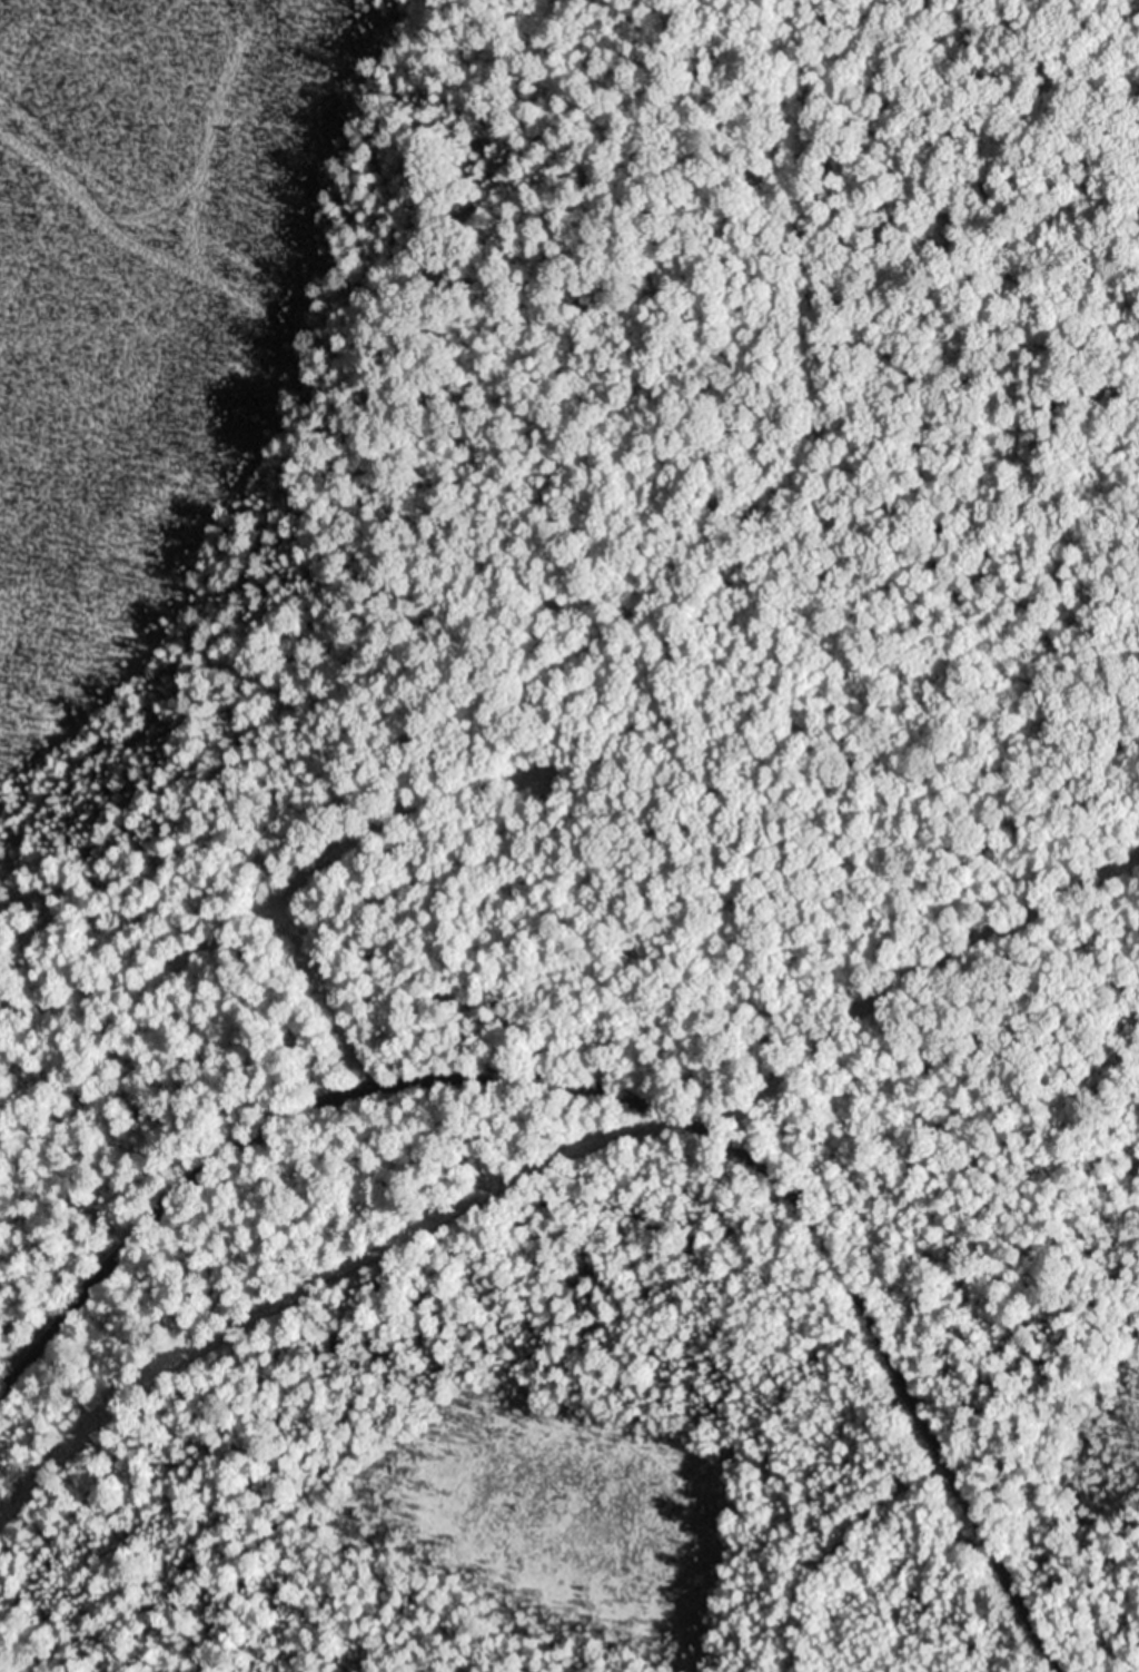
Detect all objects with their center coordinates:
road: (412, 660)
road: (621, 1091)
building: (643, 1107)

